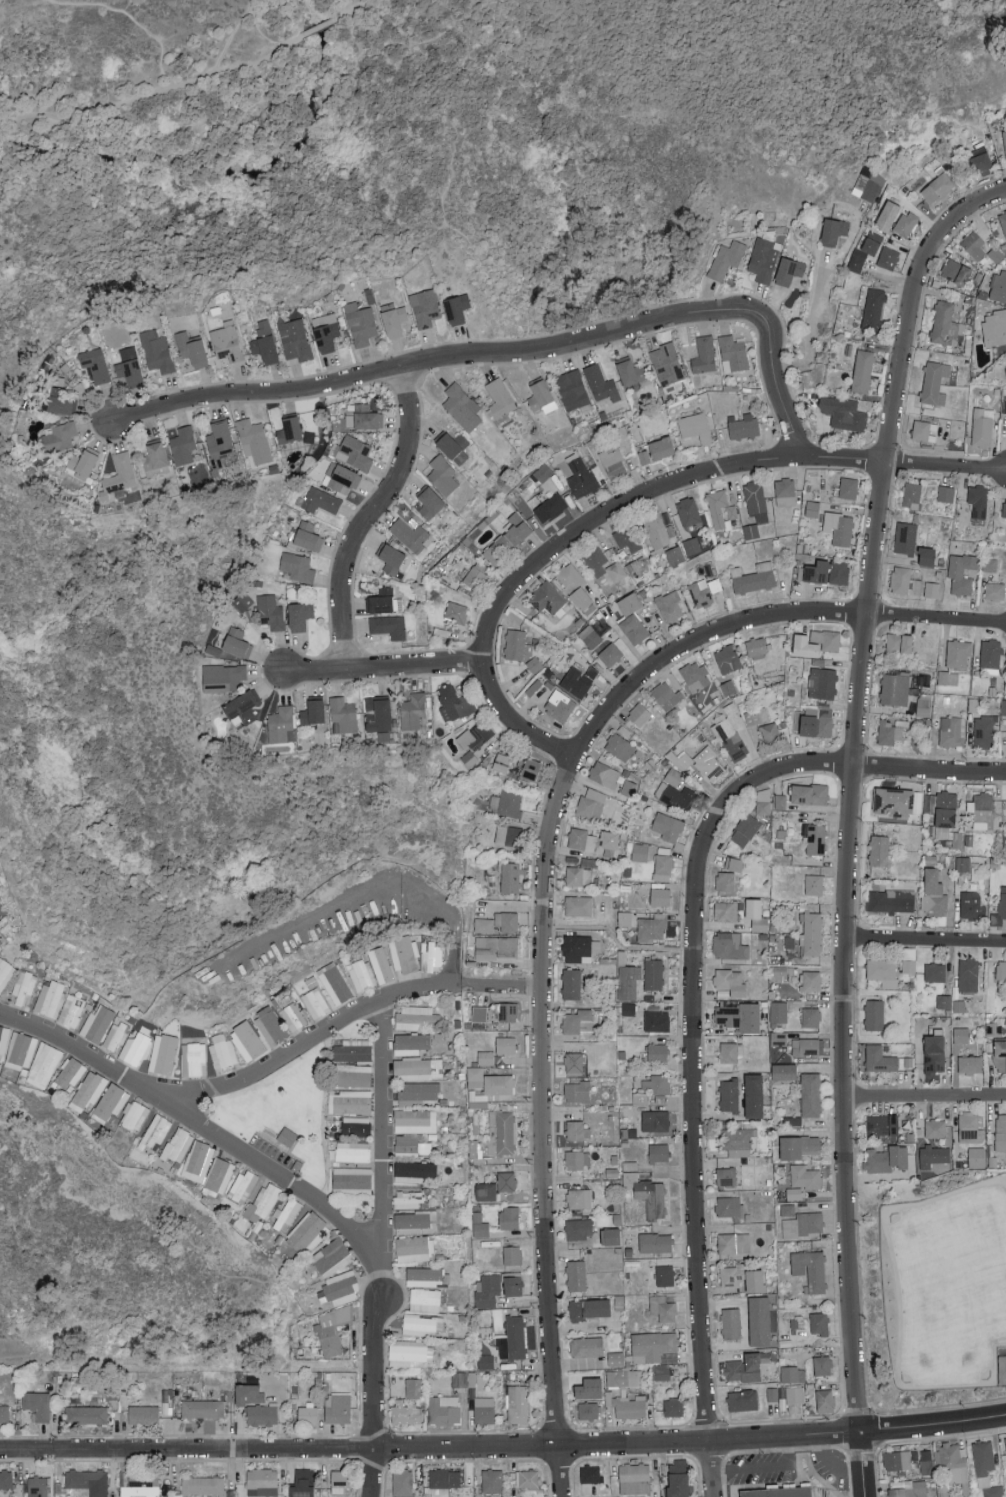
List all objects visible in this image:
road: (131, 17)
road: (230, 36)
road: (264, 37)
road: (345, 67)
road: (190, 83)
road: (32, 119)
park: (434, 134)
building: (1004, 140)
building: (980, 159)
building: (936, 187)
building: (887, 215)
building: (1003, 220)
building: (905, 223)
building: (833, 230)
building: (974, 245)
building: (864, 251)
building: (888, 257)
building: (727, 258)
building: (763, 259)
building: (788, 270)
building: (956, 271)
building: (998, 286)
building: (424, 307)
building: (456, 308)
building: (873, 309)
building: (393, 319)
building: (360, 323)
road: (812, 324)
building: (946, 324)
building: (994, 327)
building: (325, 331)
building: (294, 339)
building: (227, 341)
building: (264, 341)
building: (191, 348)
building: (156, 350)
building: (734, 351)
road: (511, 354)
building: (704, 355)
building: (666, 363)
building: (95, 364)
building: (862, 370)
building: (129, 371)
building: (630, 372)
building: (934, 382)
building: (601, 383)
building: (572, 389)
building: (541, 396)
building: (499, 401)
building: (60, 402)
building: (1004, 404)
building: (461, 406)
building: (843, 412)
building: (362, 416)
building: (743, 425)
building: (695, 426)
building: (982, 426)
building: (289, 429)
building: (922, 430)
building: (58, 435)
building: (254, 440)
building: (451, 443)
building: (220, 444)
building: (182, 445)
building: (657, 450)
building: (354, 452)
building: (155, 458)
building: (613, 461)
building: (82, 462)
road: (946, 468)
building: (542, 472)
building: (442, 475)
building: (118, 476)
building: (341, 477)
building: (581, 477)
building: (784, 487)
building: (848, 487)
building: (946, 493)
building: (911, 495)
building: (321, 500)
building: (756, 500)
building: (978, 500)
building: (429, 502)
building: (550, 507)
building: (1004, 507)
building: (812, 508)
building: (721, 509)
building: (688, 511)
road: (372, 518)
building: (839, 528)
road: (585, 530)
building: (659, 531)
building: (409, 533)
building: (308, 536)
building: (905, 537)
building: (507, 539)
building: (627, 539)
building: (691, 545)
building: (675, 555)
building: (926, 556)
building: (391, 558)
building: (603, 563)
building: (989, 564)
building: (297, 566)
building: (827, 571)
building: (961, 573)
building: (475, 574)
building: (753, 578)
building: (904, 581)
building: (573, 584)
building: (714, 584)
building: (931, 589)
building: (994, 590)
building: (700, 593)
building: (242, 600)
building: (383, 600)
building: (629, 603)
building: (669, 604)
building: (270, 611)
building: (455, 612)
building: (299, 615)
road: (937, 620)
building: (388, 626)
building: (634, 628)
building: (589, 636)
building: (236, 642)
building: (899, 643)
building: (515, 644)
building: (804, 645)
building: (756, 646)
building: (958, 652)
building: (610, 654)
building: (727, 658)
road: (385, 668)
building: (695, 676)
building: (223, 677)
building: (948, 677)
building: (578, 680)
building: (822, 683)
building: (894, 688)
building: (665, 694)
building: (454, 703)
building: (560, 705)
building: (242, 706)
building: (1003, 707)
building: (412, 711)
building: (312, 712)
building: (377, 713)
building: (342, 714)
building: (639, 714)
building: (756, 715)
building: (818, 721)
building: (282, 724)
building: (952, 731)
building: (984, 731)
building: (769, 732)
building: (889, 732)
building: (730, 733)
building: (476, 736)
park: (163, 742)
building: (619, 746)
building: (469, 758)
building: (502, 762)
building: (705, 764)
building: (531, 769)
road: (929, 772)
building: (604, 774)
building: (674, 777)
road: (853, 787)
building: (809, 794)
building: (676, 795)
building: (763, 801)
building: (780, 801)
building: (506, 802)
building: (591, 803)
building: (941, 811)
building: (666, 828)
building: (745, 830)
building: (507, 835)
building: (581, 839)
building: (815, 839)
building: (609, 840)
building: (879, 850)
building: (639, 852)
building: (590, 862)
building: (733, 864)
building: (963, 864)
building: (662, 867)
building: (512, 876)
building: (579, 876)
building: (725, 882)
building: (814, 884)
building: (933, 893)
building: (660, 895)
building: (890, 900)
building: (579, 905)
building: (971, 905)
building: (1000, 908)
building: (725, 911)
building: (0, 917)
building: (625, 918)
building: (507, 921)
building: (484, 925)
building: (652, 927)
building: (811, 933)
road: (926, 942)
building: (1, 943)
road: (620, 944)
building: (729, 946)
building: (496, 947)
road: (544, 952)
building: (403, 953)
building: (431, 958)
building: (908, 960)
building: (1001, 970)
building: (883, 971)
building: (5, 972)
building: (781, 972)
building: (934, 972)
building: (653, 974)
building: (362, 975)
building: (968, 975)
building: (810, 980)
building: (628, 981)
road: (442, 982)
building: (730, 982)
building: (334, 983)
road: (496, 983)
building: (571, 983)
building: (24, 987)
building: (49, 998)
building: (944, 1001)
building: (315, 1003)
building: (628, 1008)
building: (71, 1011)
building: (506, 1012)
building: (778, 1012)
building: (479, 1013)
building: (874, 1015)
building: (727, 1016)
building: (292, 1017)
building: (418, 1017)
building: (811, 1017)
building: (578, 1021)
building: (657, 1021)
building: (97, 1023)
building: (272, 1024)
building: (115, 1034)
building: (961, 1035)
building: (3, 1039)
building: (247, 1040)
building: (411, 1043)
building: (505, 1045)
building: (807, 1046)
building: (135, 1048)
building: (21, 1049)
building: (353, 1050)
building: (222, 1051)
building: (657, 1052)
building: (730, 1052)
road: (78, 1053)
building: (163, 1054)
building: (934, 1054)
building: (1000, 1056)
building: (485, 1057)
building: (192, 1058)
building: (581, 1058)
building: (879, 1059)
building: (970, 1064)
building: (43, 1065)
building: (417, 1068)
building: (783, 1071)
building: (68, 1074)
building: (353, 1075)
building: (475, 1077)
road: (693, 1079)
building: (655, 1084)
building: (492, 1089)
building: (88, 1090)
building: (417, 1092)
building: (577, 1092)
road: (924, 1093)
building: (810, 1094)
building: (729, 1095)
building: (753, 1096)
building: (641, 1098)
building: (350, 1101)
building: (110, 1102)
building: (133, 1116)
building: (655, 1120)
building: (415, 1121)
building: (882, 1124)
building: (356, 1125)
building: (935, 1128)
building: (970, 1128)
building: (577, 1130)
building: (156, 1131)
building: (501, 1132)
building: (1001, 1132)
building: (287, 1136)
building: (737, 1141)
building: (410, 1144)
building: (177, 1145)
building: (798, 1147)
road: (383, 1148)
building: (352, 1151)
building: (658, 1152)
building: (976, 1157)
building: (577, 1159)
building: (886, 1159)
building: (197, 1160)
building: (413, 1171)
building: (219, 1175)
building: (725, 1176)
building: (805, 1177)
building: (352, 1180)
building: (502, 1182)
building: (243, 1185)
building: (794, 1193)
building: (647, 1194)
building: (579, 1198)
building: (408, 1199)
building: (728, 1208)
building: (286, 1214)
building: (509, 1218)
building: (801, 1222)
building: (479, 1225)
road: (348, 1226)
building: (578, 1228)
building: (307, 1233)
building: (611, 1237)
building: (655, 1242)
building: (734, 1243)
building: (414, 1248)
building: (512, 1255)
building: (331, 1257)
park: (114, 1259)
building: (810, 1270)
building: (576, 1275)
building: (664, 1275)
building: (732, 1275)
building: (424, 1276)
building: (754, 1281)
building: (341, 1288)
building: (487, 1289)
building: (425, 1300)
building: (663, 1308)
building: (589, 1309)
building: (759, 1322)
building: (731, 1323)
building: (819, 1323)
building: (421, 1324)
building: (332, 1329)
building: (512, 1339)
building: (586, 1346)
building: (654, 1347)
building: (410, 1354)
building: (615, 1358)
building: (485, 1362)
building: (822, 1366)
building: (743, 1368)
building: (1002, 1370)
building: (661, 1372)
building: (793, 1374)
building: (463, 1378)
building: (623, 1378)
building: (414, 1388)
building: (588, 1389)
building: (772, 1394)
building: (248, 1395)
building: (794, 1395)
building: (743, 1400)
building: (825, 1400)
building: (517, 1404)
building: (782, 1404)
building: (627, 1406)
building: (673, 1407)
building: (337, 1408)
building: (202, 1409)
building: (444, 1410)
building: (484, 1410)
building: (589, 1411)
building: (4, 1413)
building: (405, 1413)
building: (86, 1415)
building: (143, 1415)
building: (261, 1415)
building: (307, 1415)
road: (932, 1422)
building: (1005, 1440)
road: (429, 1447)
building: (897, 1459)
building: (926, 1461)
road: (861, 1462)
road: (831, 1463)
building: (952, 1463)
building: (985, 1468)
road: (766, 1469)
parking lot: (759, 1470)
road: (372, 1473)
building: (589, 1473)
building: (10, 1477)
building: (444, 1477)
building: (634, 1477)
building: (526, 1478)
building: (678, 1478)
building: (340, 1479)
building: (262, 1480)
building: (492, 1480)
building: (89, 1481)
building: (402, 1481)
building: (138, 1483)
building: (301, 1483)
building: (205, 1485)
building: (37, 1486)
building: (909, 1489)
building: (779, 1492)

